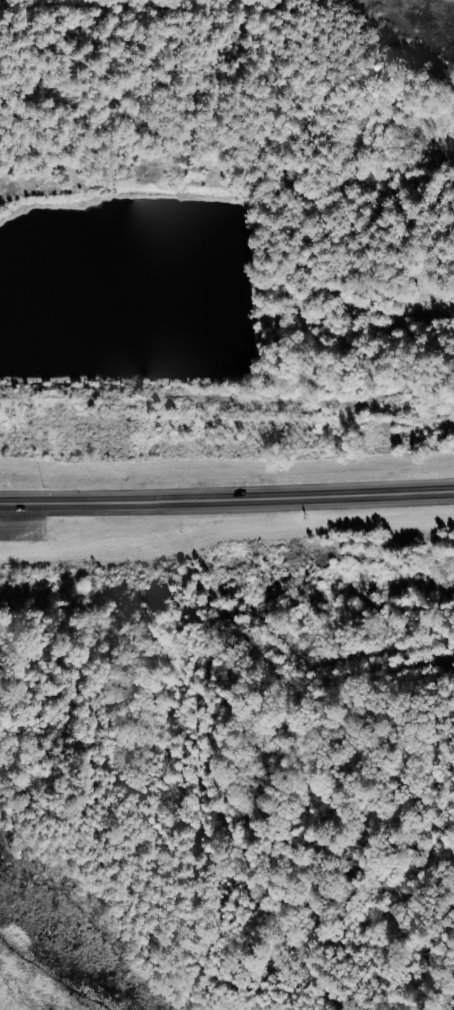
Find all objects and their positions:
road: (367, 314)
road: (227, 497)
road: (107, 598)

